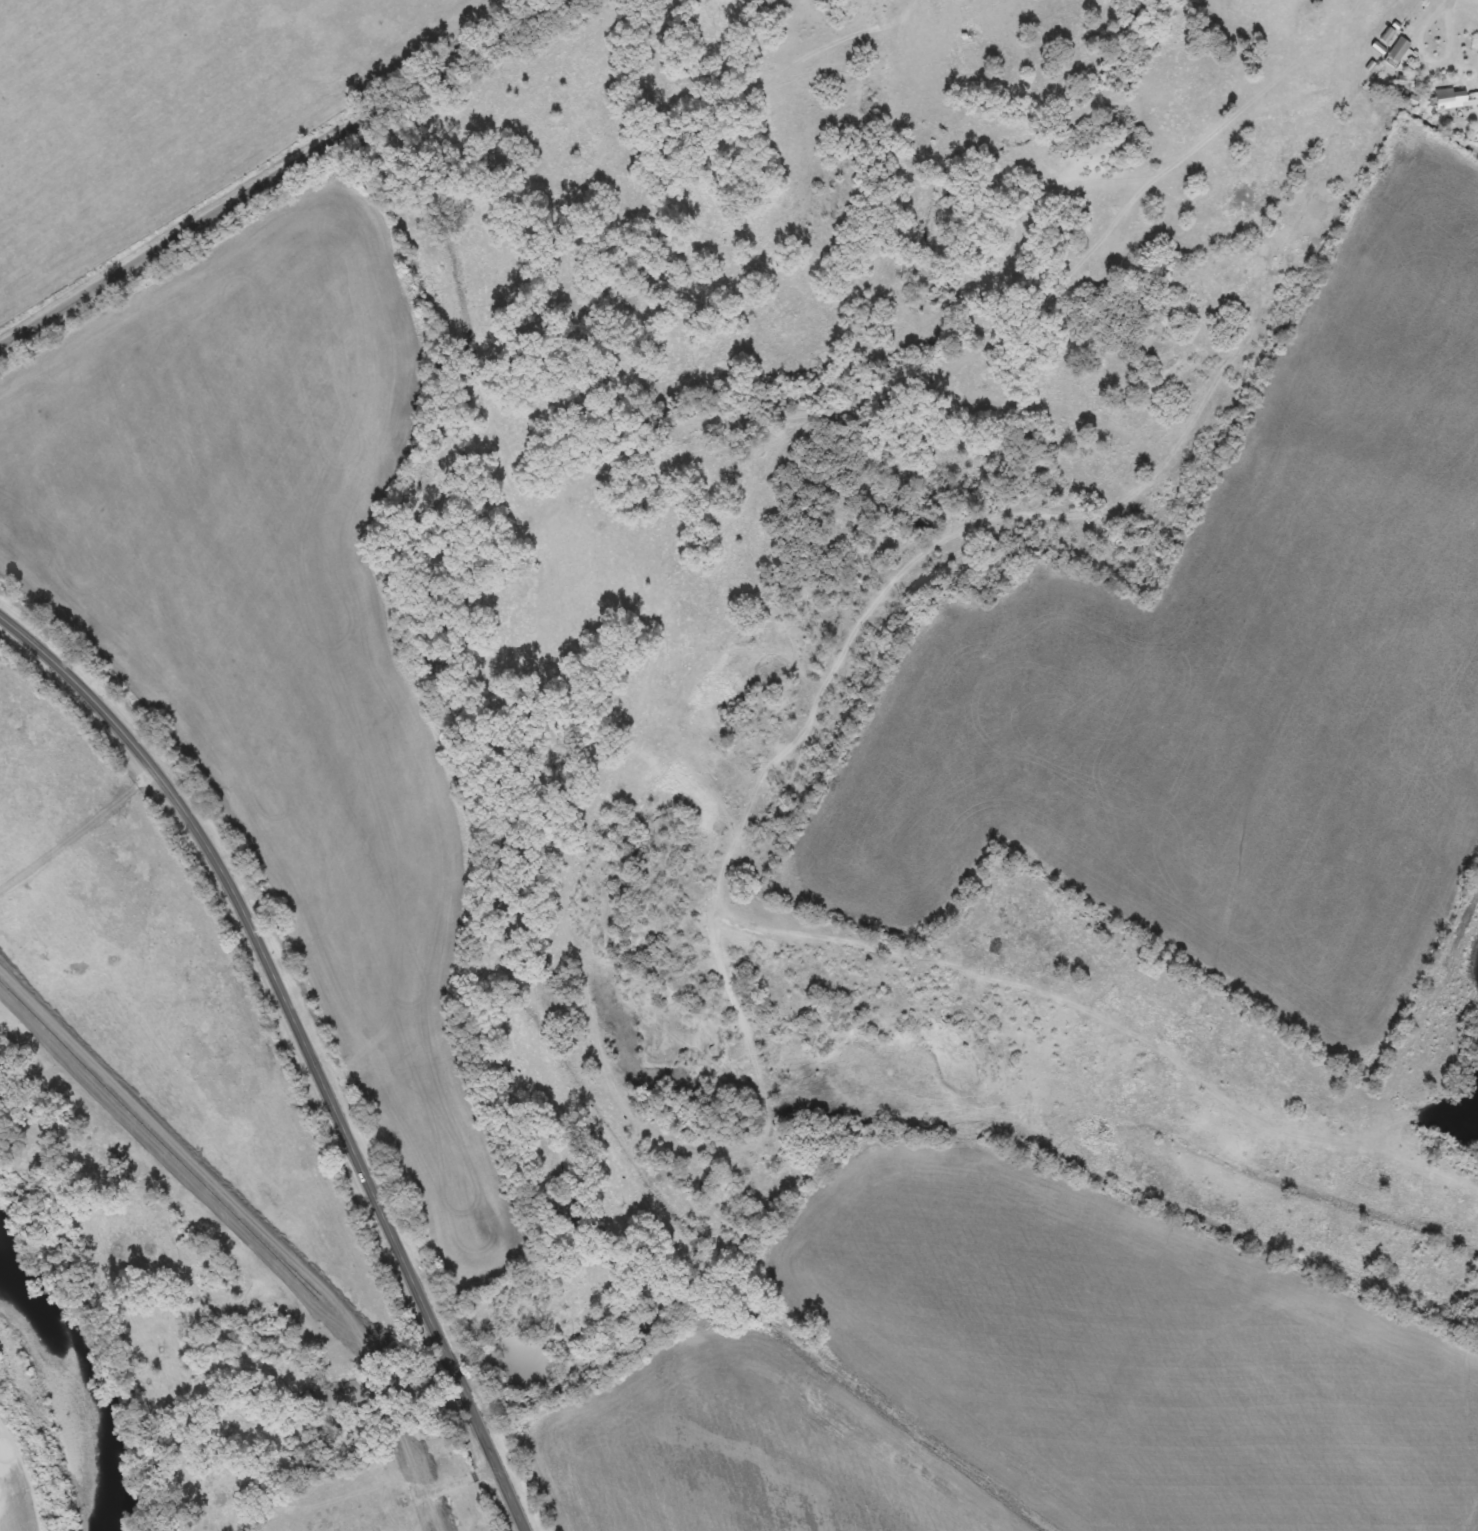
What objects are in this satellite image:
building: (1394, 51)
building: (1449, 98)
road: (283, 174)
road: (306, 1045)
river: (91, 1390)

